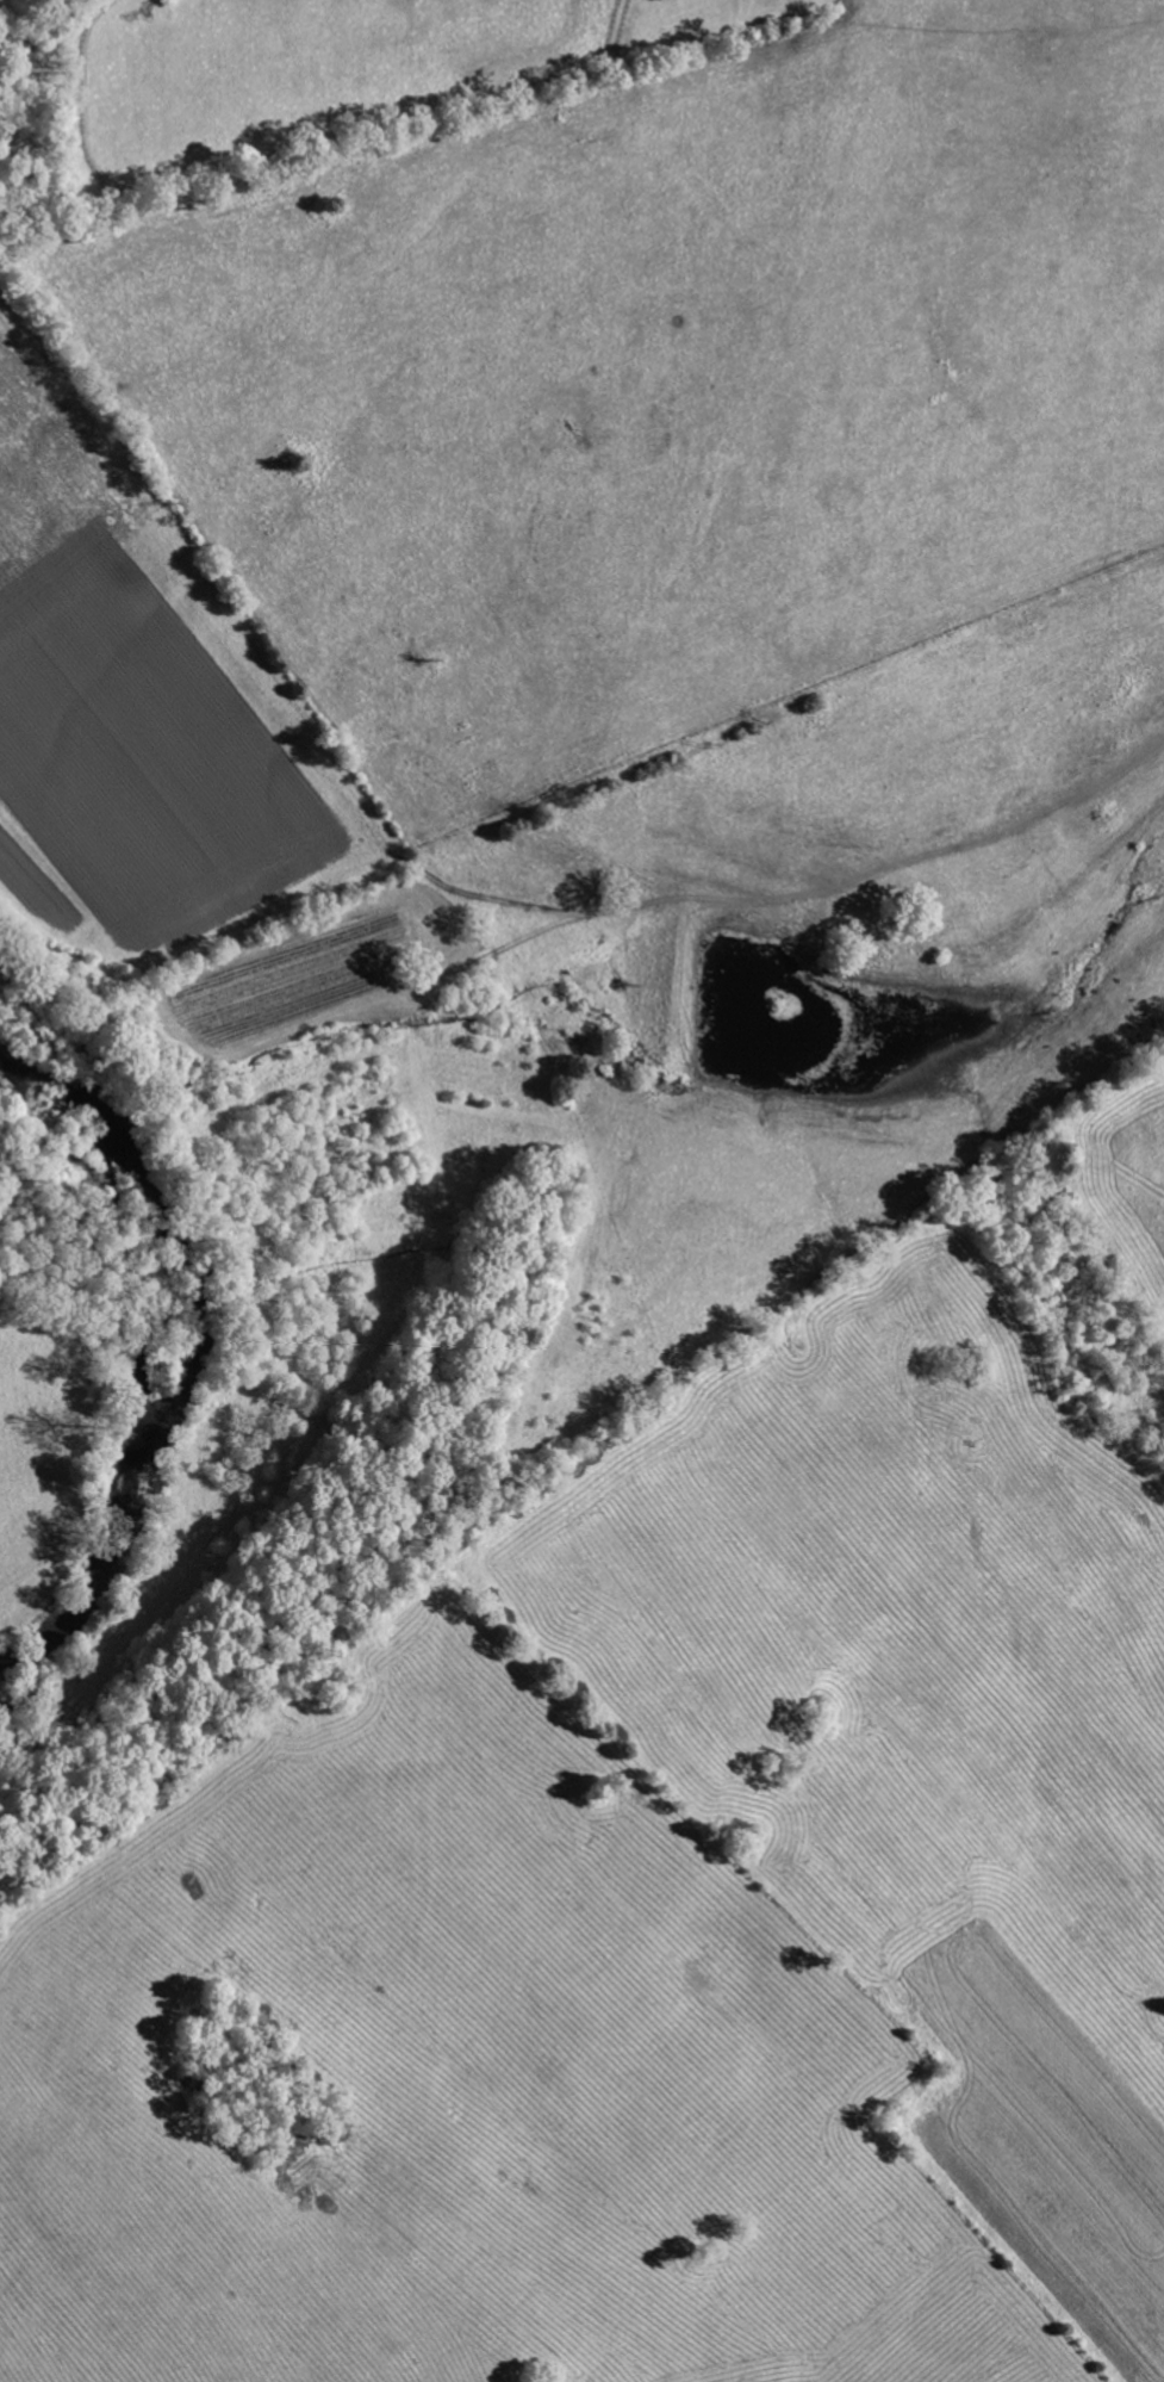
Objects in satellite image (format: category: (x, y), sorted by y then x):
river: (192, 1341)

